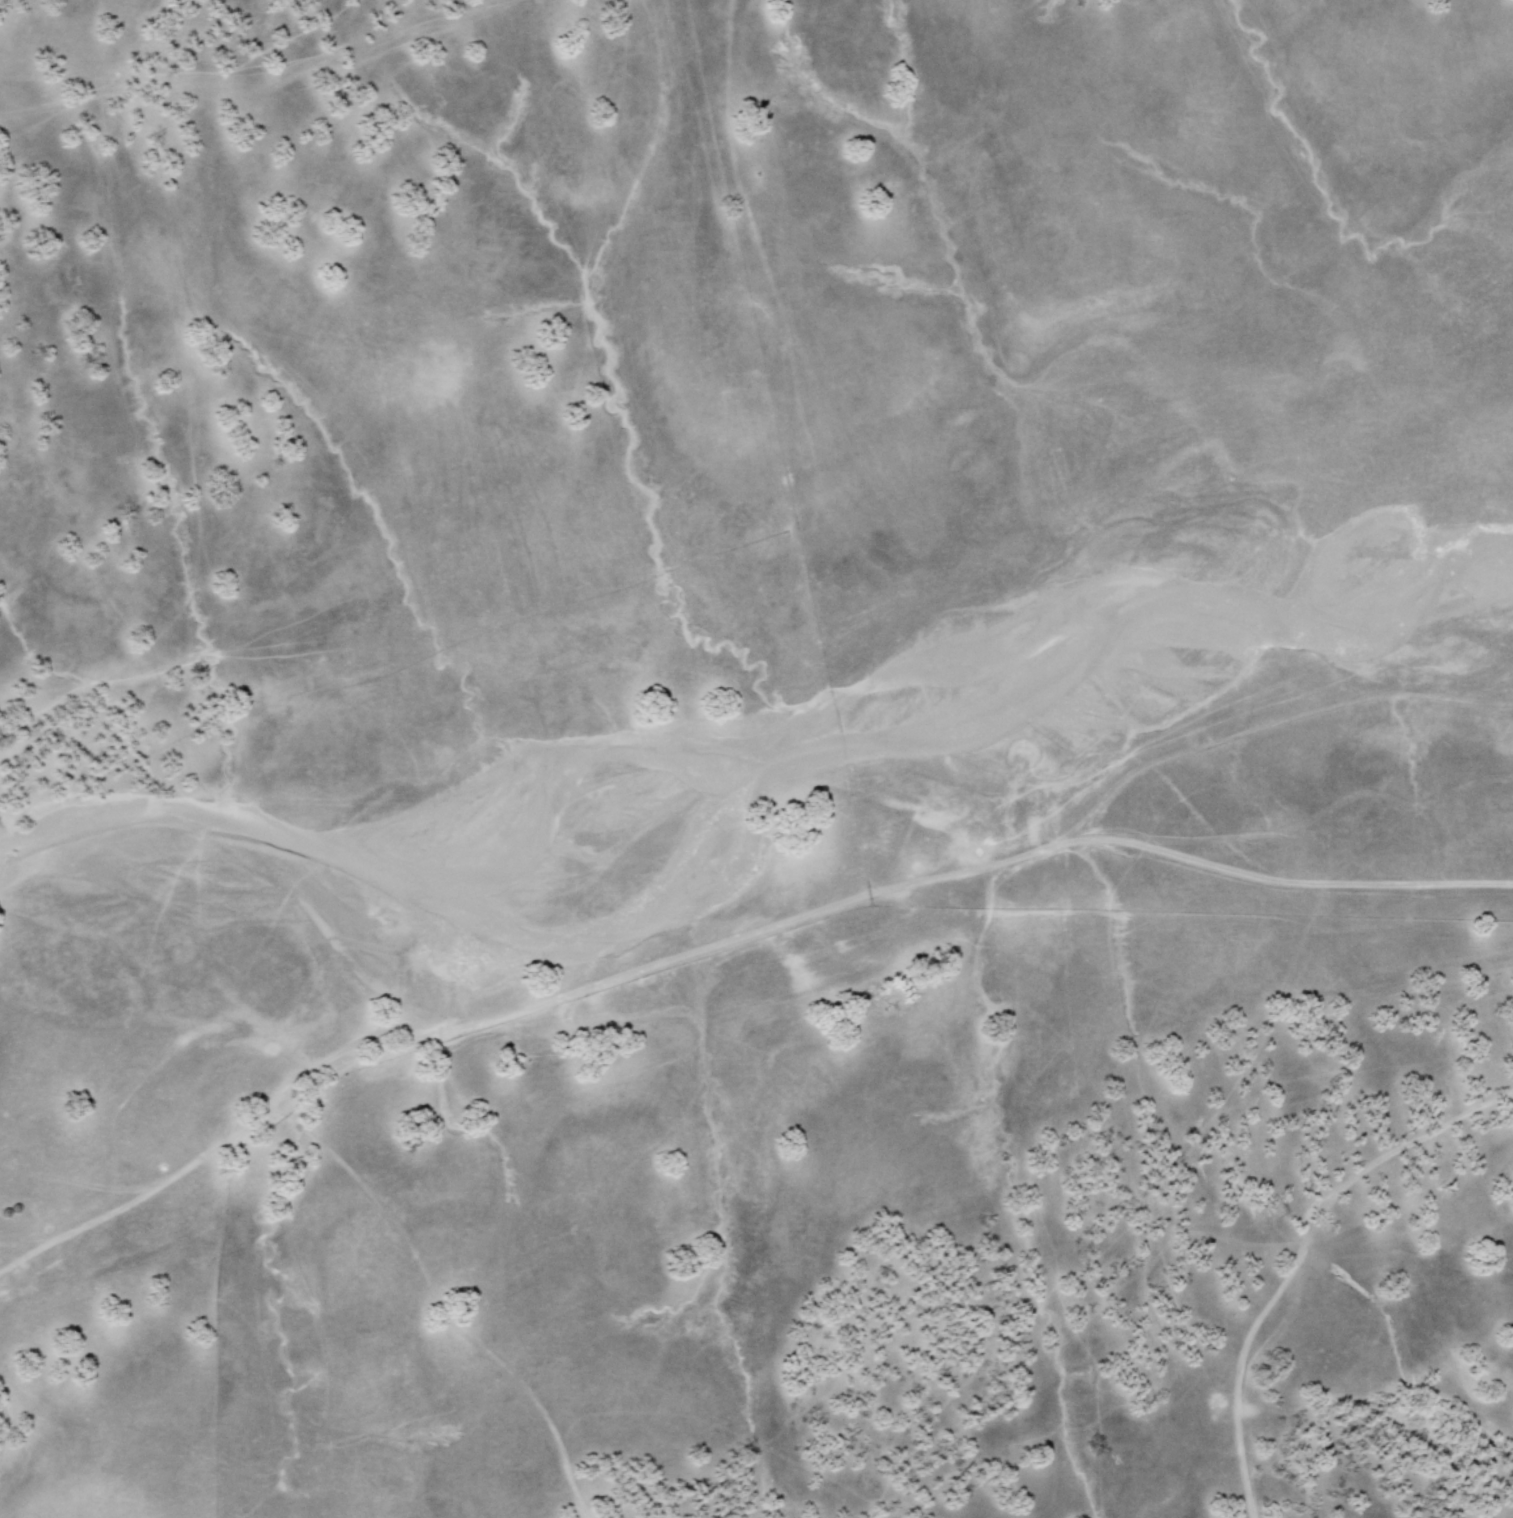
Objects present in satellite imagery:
river: (796, 752)
road: (722, 941)
road: (1297, 1256)
road: (461, 1330)

